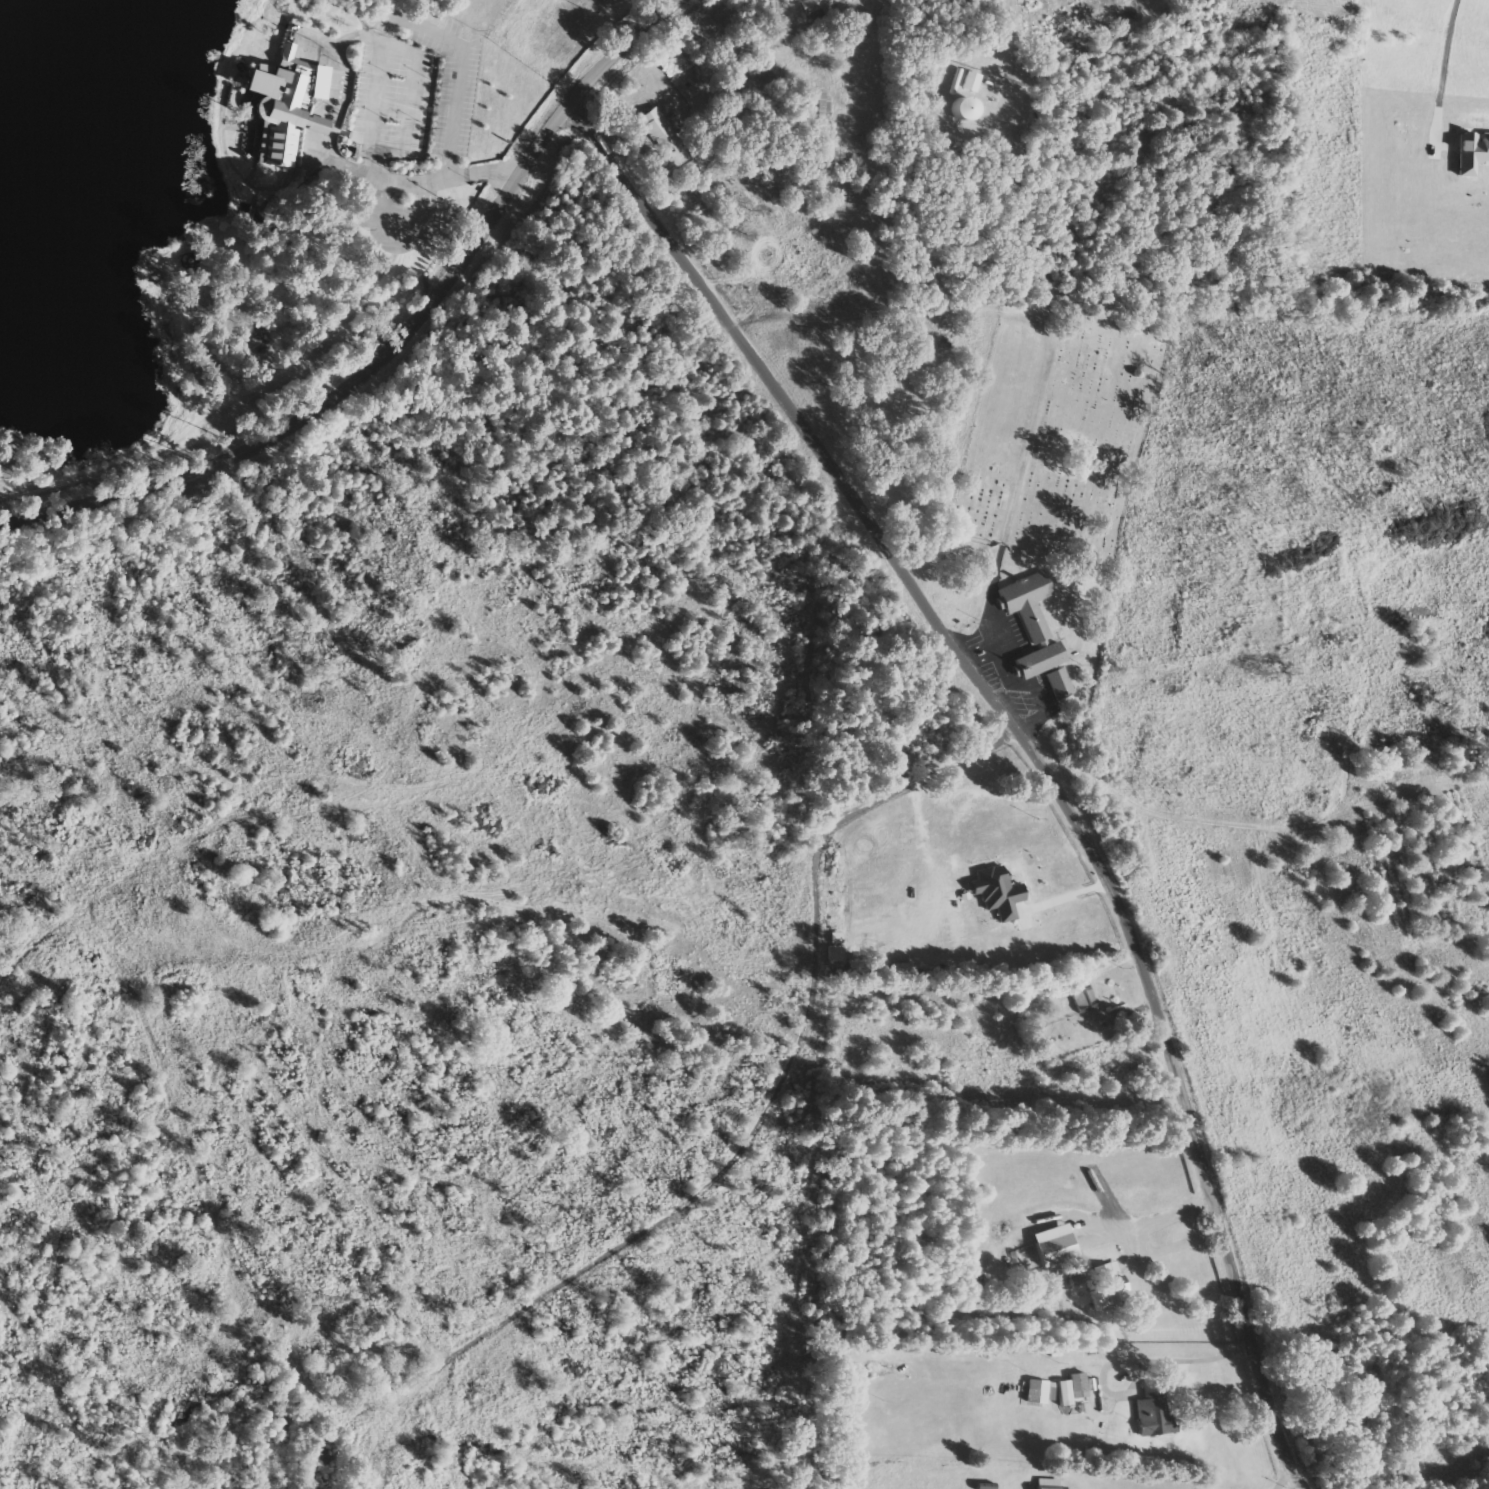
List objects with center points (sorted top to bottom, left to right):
building: (813, 6)
building: (818, 104)
building: (284, 106)
building: (959, 109)
building: (656, 127)
building: (1471, 154)
road: (405, 346)
park: (1061, 436)
building: (1030, 624)
building: (1059, 682)
road: (1029, 750)
building: (996, 892)
building: (835, 938)
building: (834, 953)
building: (1083, 998)
building: (1053, 1245)
building: (1108, 1284)
road: (1136, 1362)
building: (1071, 1389)
building: (1035, 1392)
building: (1050, 1392)
building: (1153, 1412)
building: (1047, 1484)

